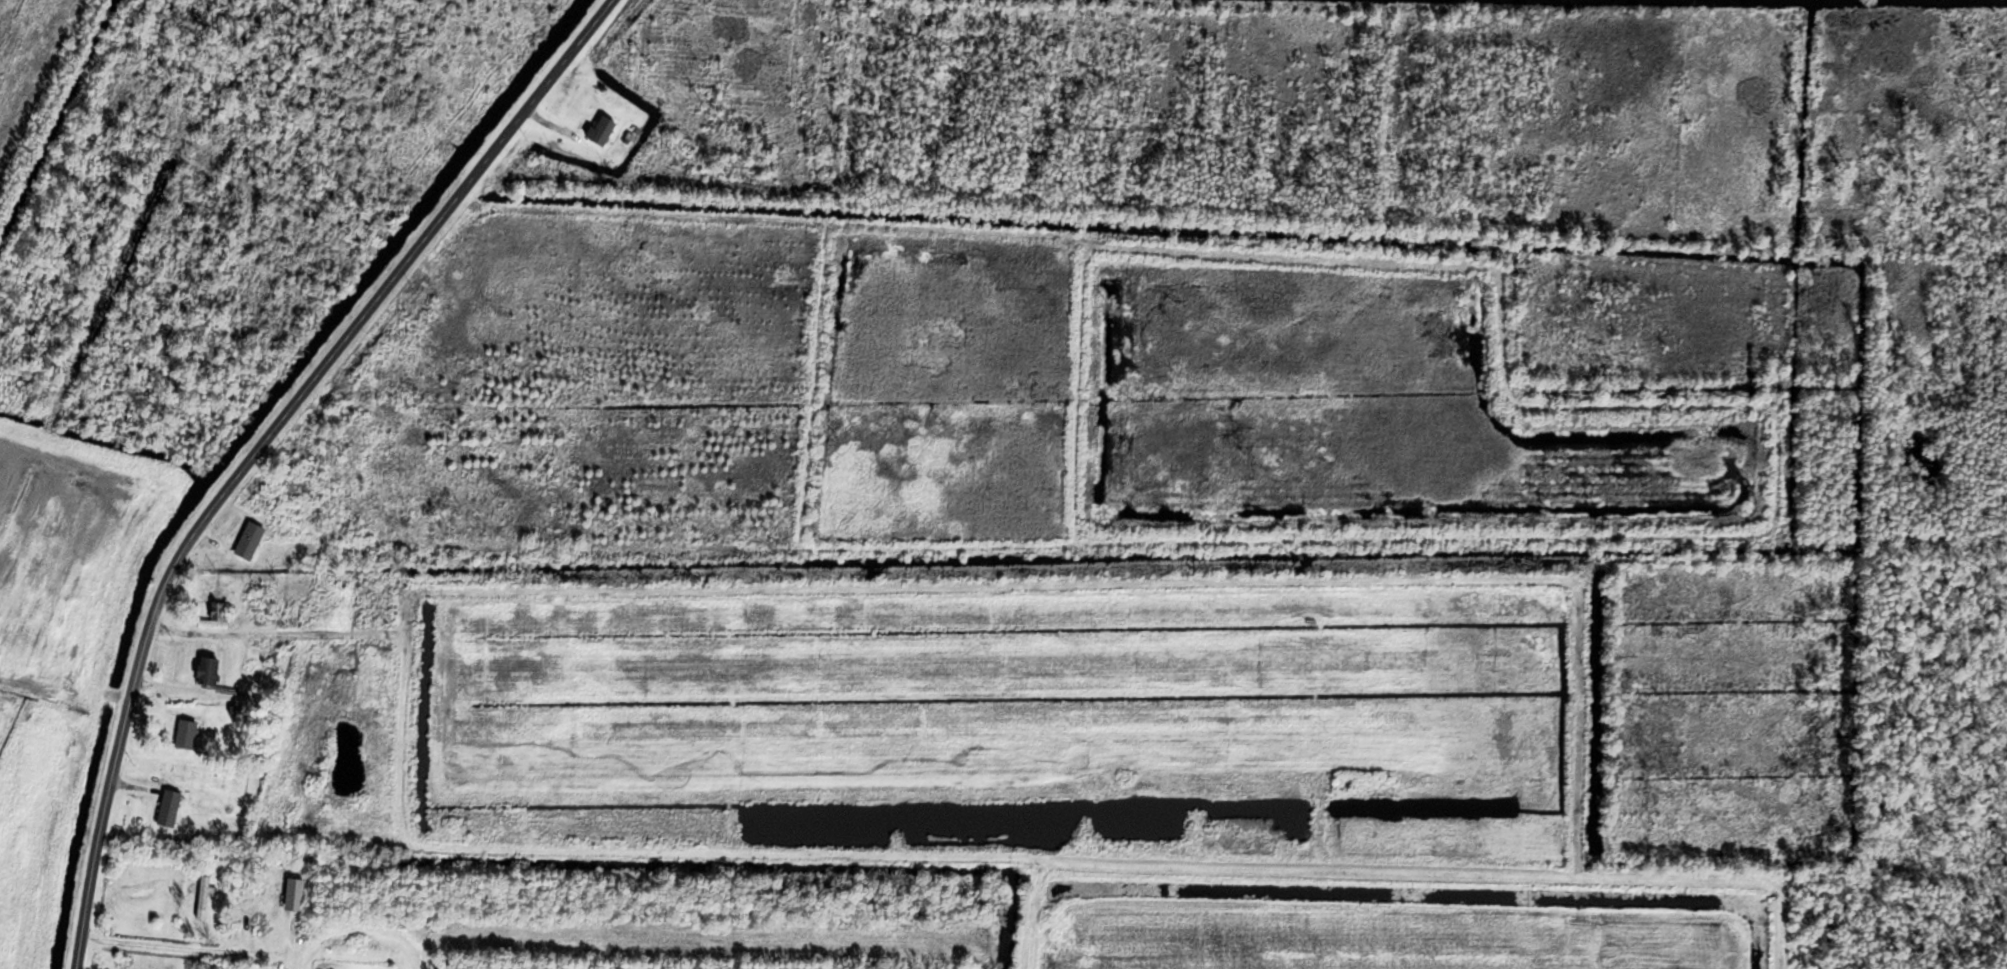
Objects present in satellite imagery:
road: (1596, 25)
building: (601, 130)
road: (259, 444)
building: (248, 540)
building: (216, 616)
building: (206, 670)
building: (185, 733)
building: (168, 807)
building: (293, 893)
building: (202, 896)
road: (183, 948)

